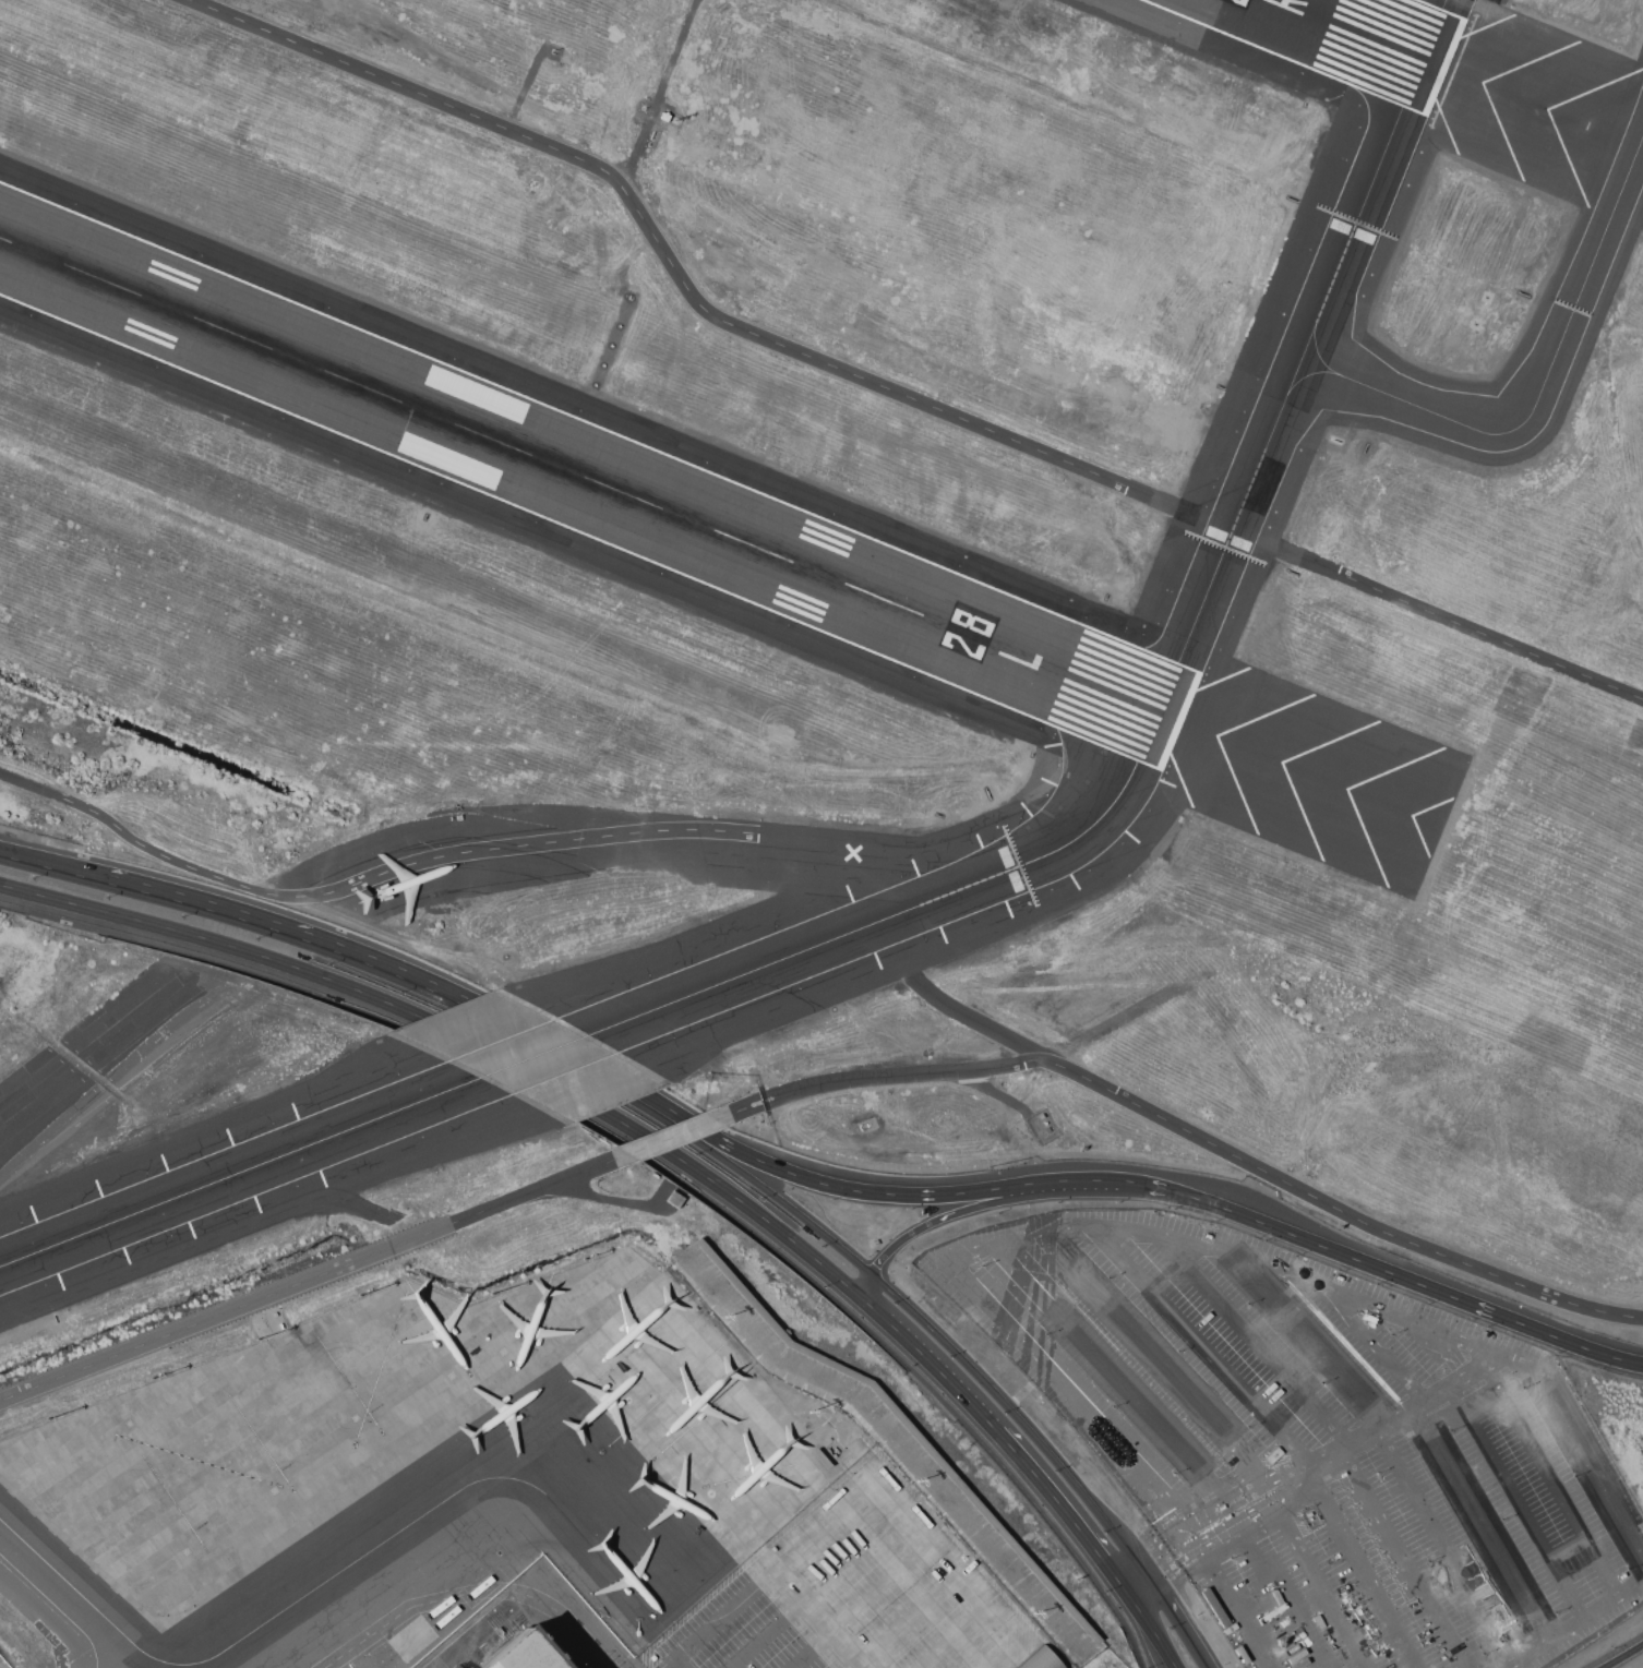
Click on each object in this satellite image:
airport taxiway: (1410, 33)
airport runway: (1365, 35)
airport taxiway: (1393, 68)
road: (697, 295)
airport taxiway: (1317, 352)
airport taxiway: (1302, 356)
airport taxiway: (1309, 374)
airport taxiway: (1548, 376)
airport runway: (592, 480)
airport taxiway: (1122, 680)
airport taxiway: (1117, 744)
airport: (821, 833)
road: (552, 840)
road: (53, 868)
road: (208, 910)
airport taxiway: (907, 910)
road: (478, 1011)
airport taxiway: (535, 1056)
road: (540, 1078)
road: (668, 1135)
road: (1194, 1135)
road: (653, 1166)
airport taxiway: (240, 1172)
road: (809, 1183)
road: (1050, 1187)
road: (957, 1215)
road: (1374, 1268)
road: (302, 1279)
road: (909, 1310)
road: (1000, 1317)
road: (1260, 1341)
road: (1316, 1341)
road: (1377, 1344)
road: (1206, 1348)
road: (1104, 1365)
road: (1444, 1387)
parking lot: (1317, 1443)
road: (1550, 1478)
road: (871, 1488)
airport apron: (509, 1495)
road: (1055, 1501)
road: (1515, 1501)
road: (1294, 1507)
toll booth: (1238, 1511)
road: (1479, 1525)
road: (1446, 1547)
road: (1402, 1559)
road: (1140, 1564)
road: (1268, 1580)
road: (814, 1587)
parking lot: (851, 1589)
road: (1322, 1591)
road: (859, 1604)
road: (1173, 1616)
road: (819, 1619)
road: (906, 1621)
road: (1576, 1621)
road: (1144, 1622)
airport taxiway: (263, 1623)
building: (523, 1655)
road: (1316, 1656)
road: (1622, 1656)
building: (1042, 1659)

